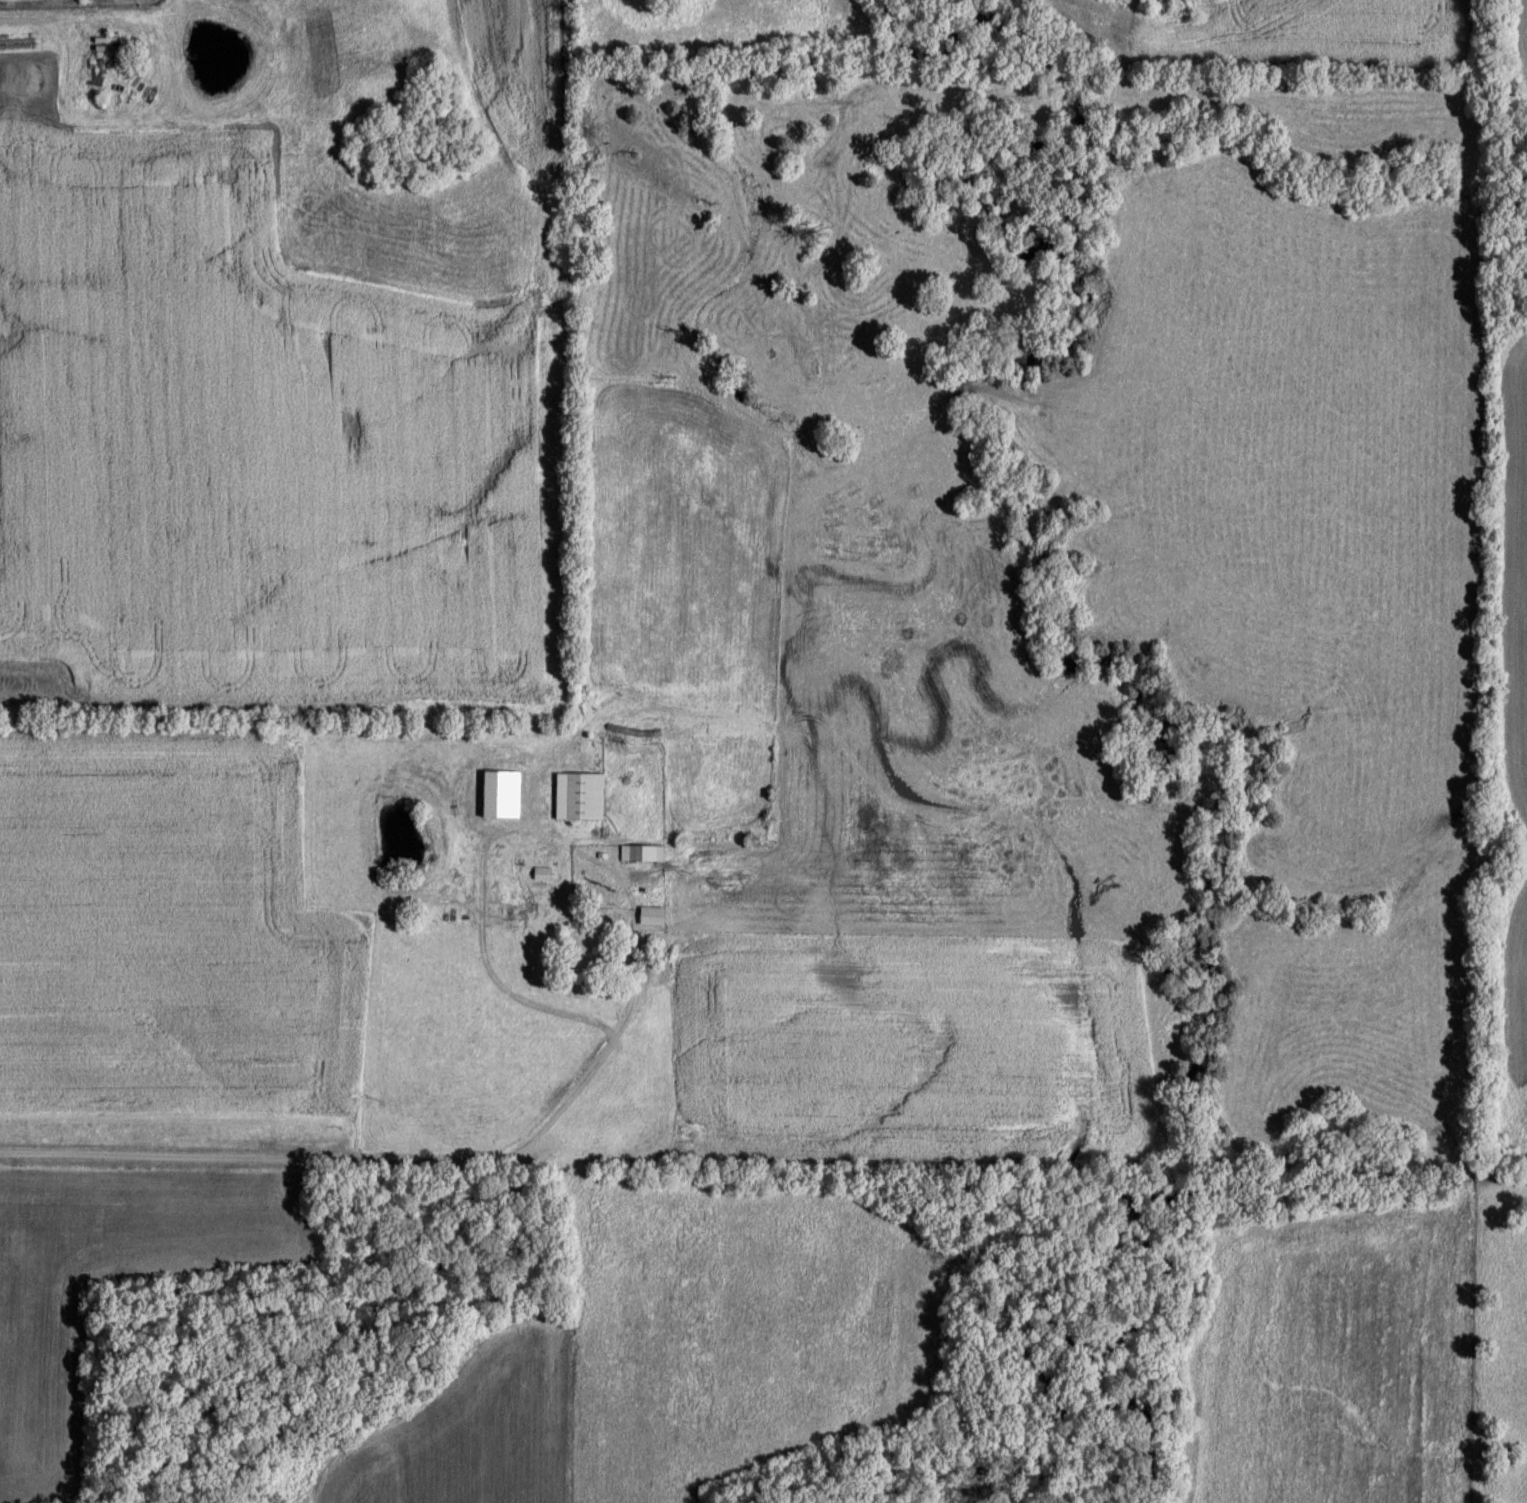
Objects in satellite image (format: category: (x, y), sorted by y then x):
road: (53, 23)
building: (498, 800)
building: (586, 800)
building: (643, 856)
building: (543, 877)
building: (654, 919)
building: (601, 952)
road: (476, 954)
road: (362, 1163)

